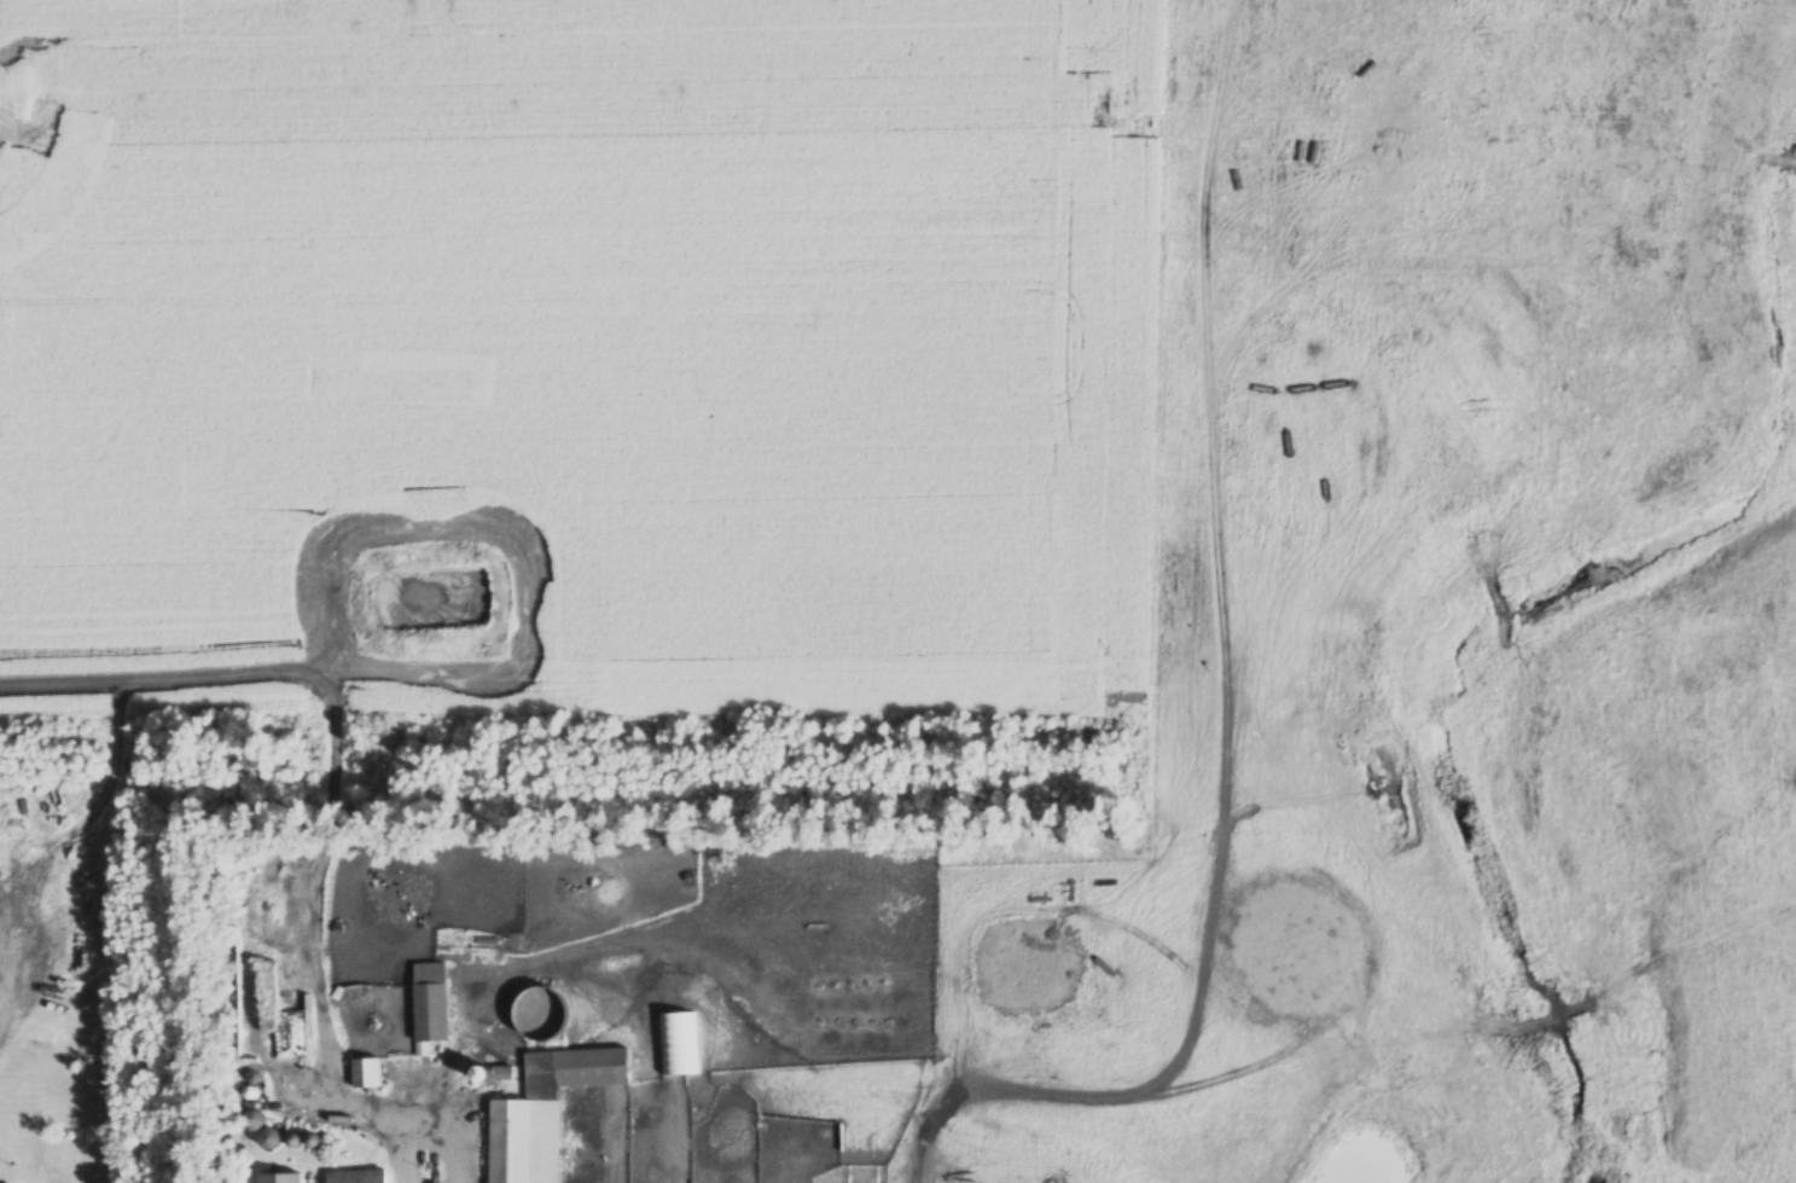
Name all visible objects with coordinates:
building: (481, 945)
building: (432, 1004)
building: (679, 1044)
building: (368, 1074)
building: (547, 1112)
building: (272, 1138)
building: (359, 1177)

